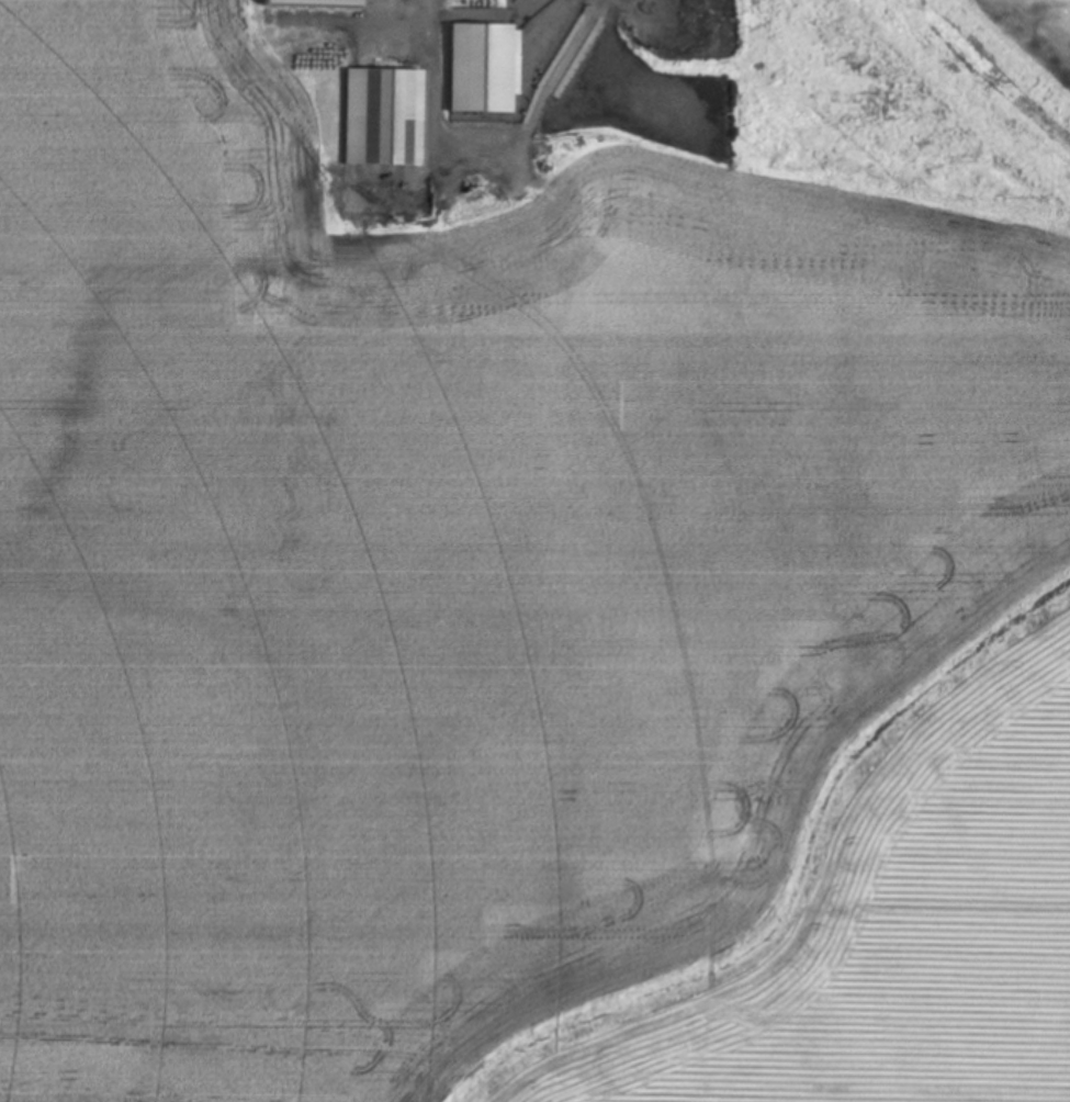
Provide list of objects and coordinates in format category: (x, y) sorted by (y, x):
building: (317, 2)
building: (484, 68)
building: (384, 116)
crop: (537, 584)

